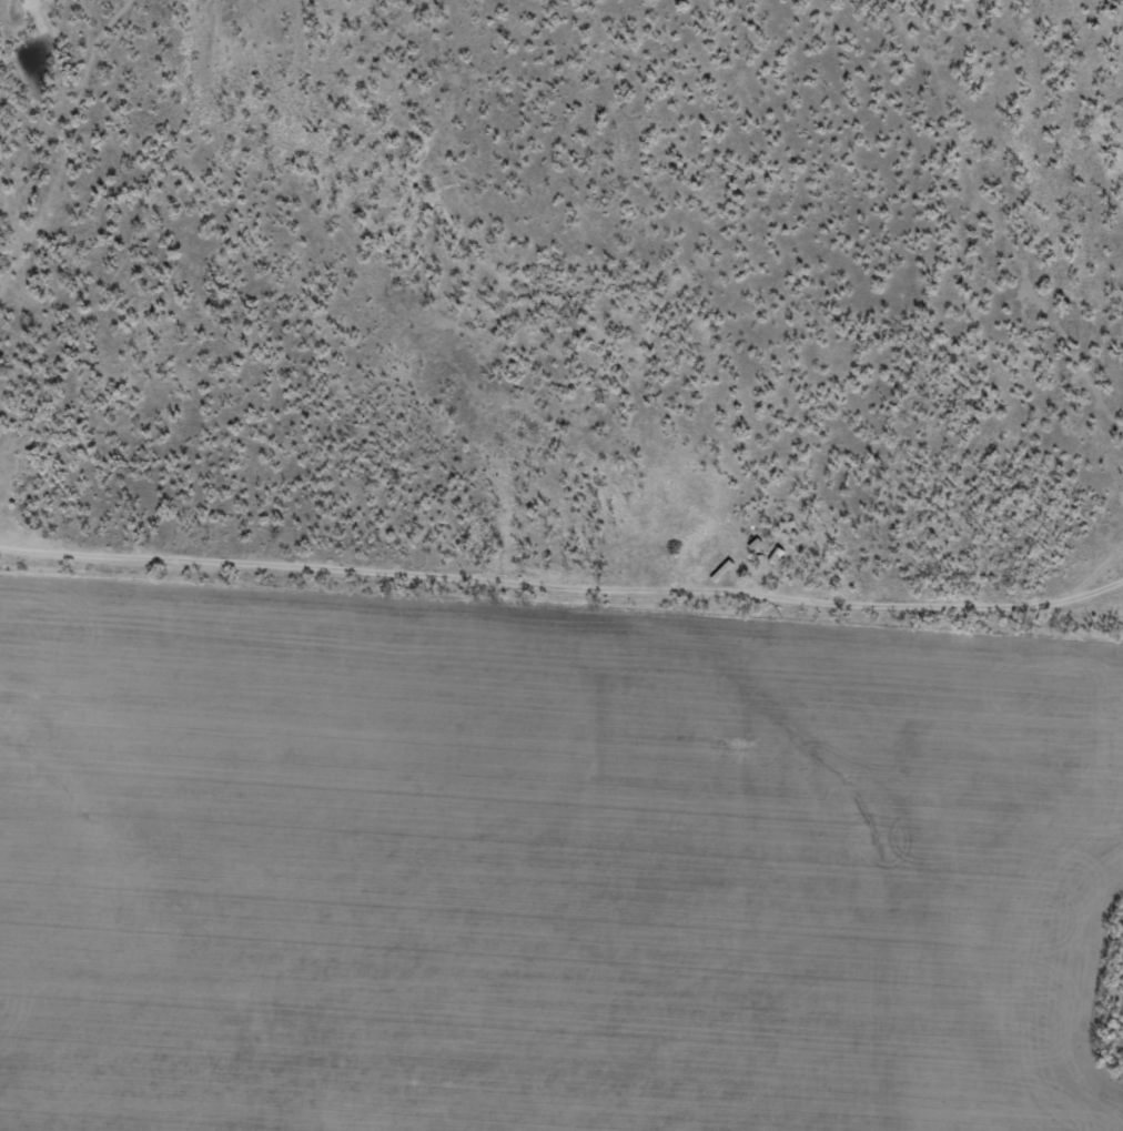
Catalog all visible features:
road: (561, 604)

